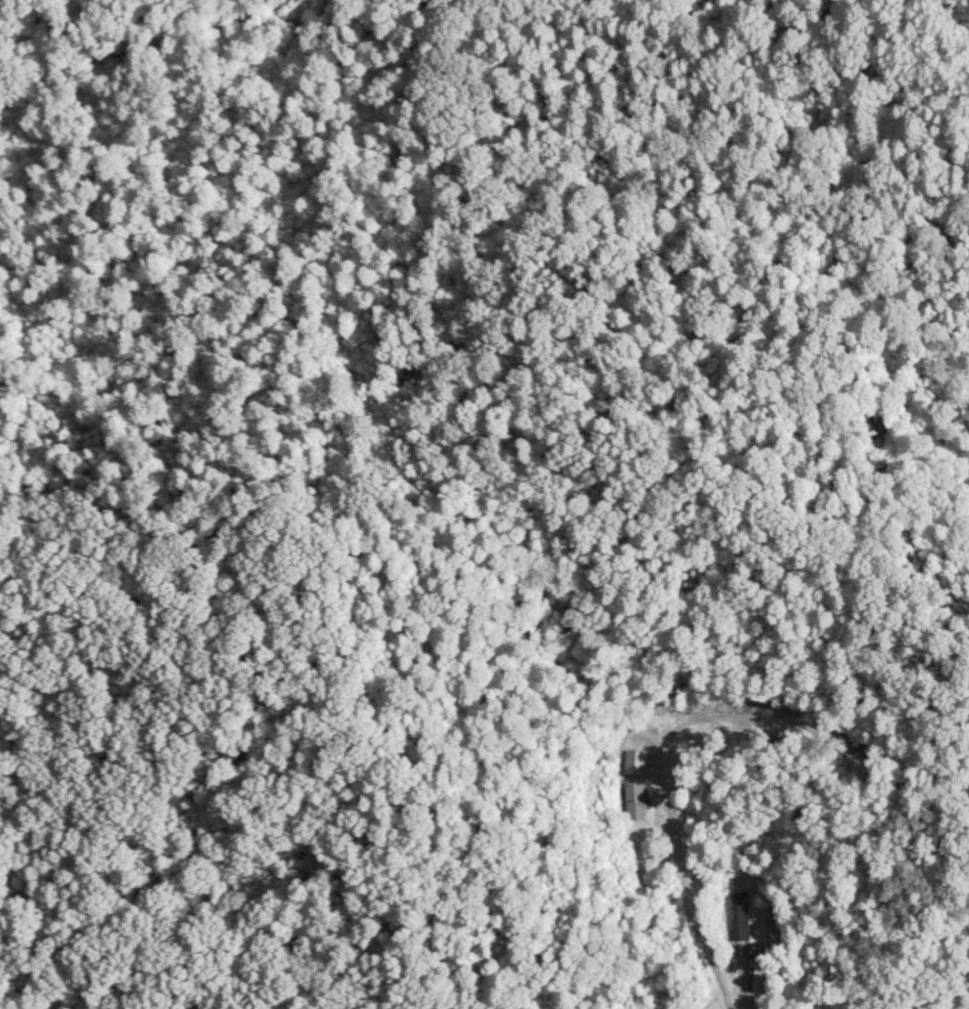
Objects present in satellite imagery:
building: (768, 738)
building: (852, 743)
building: (633, 762)
building: (632, 802)
road: (676, 861)
building: (737, 916)
building: (752, 976)

